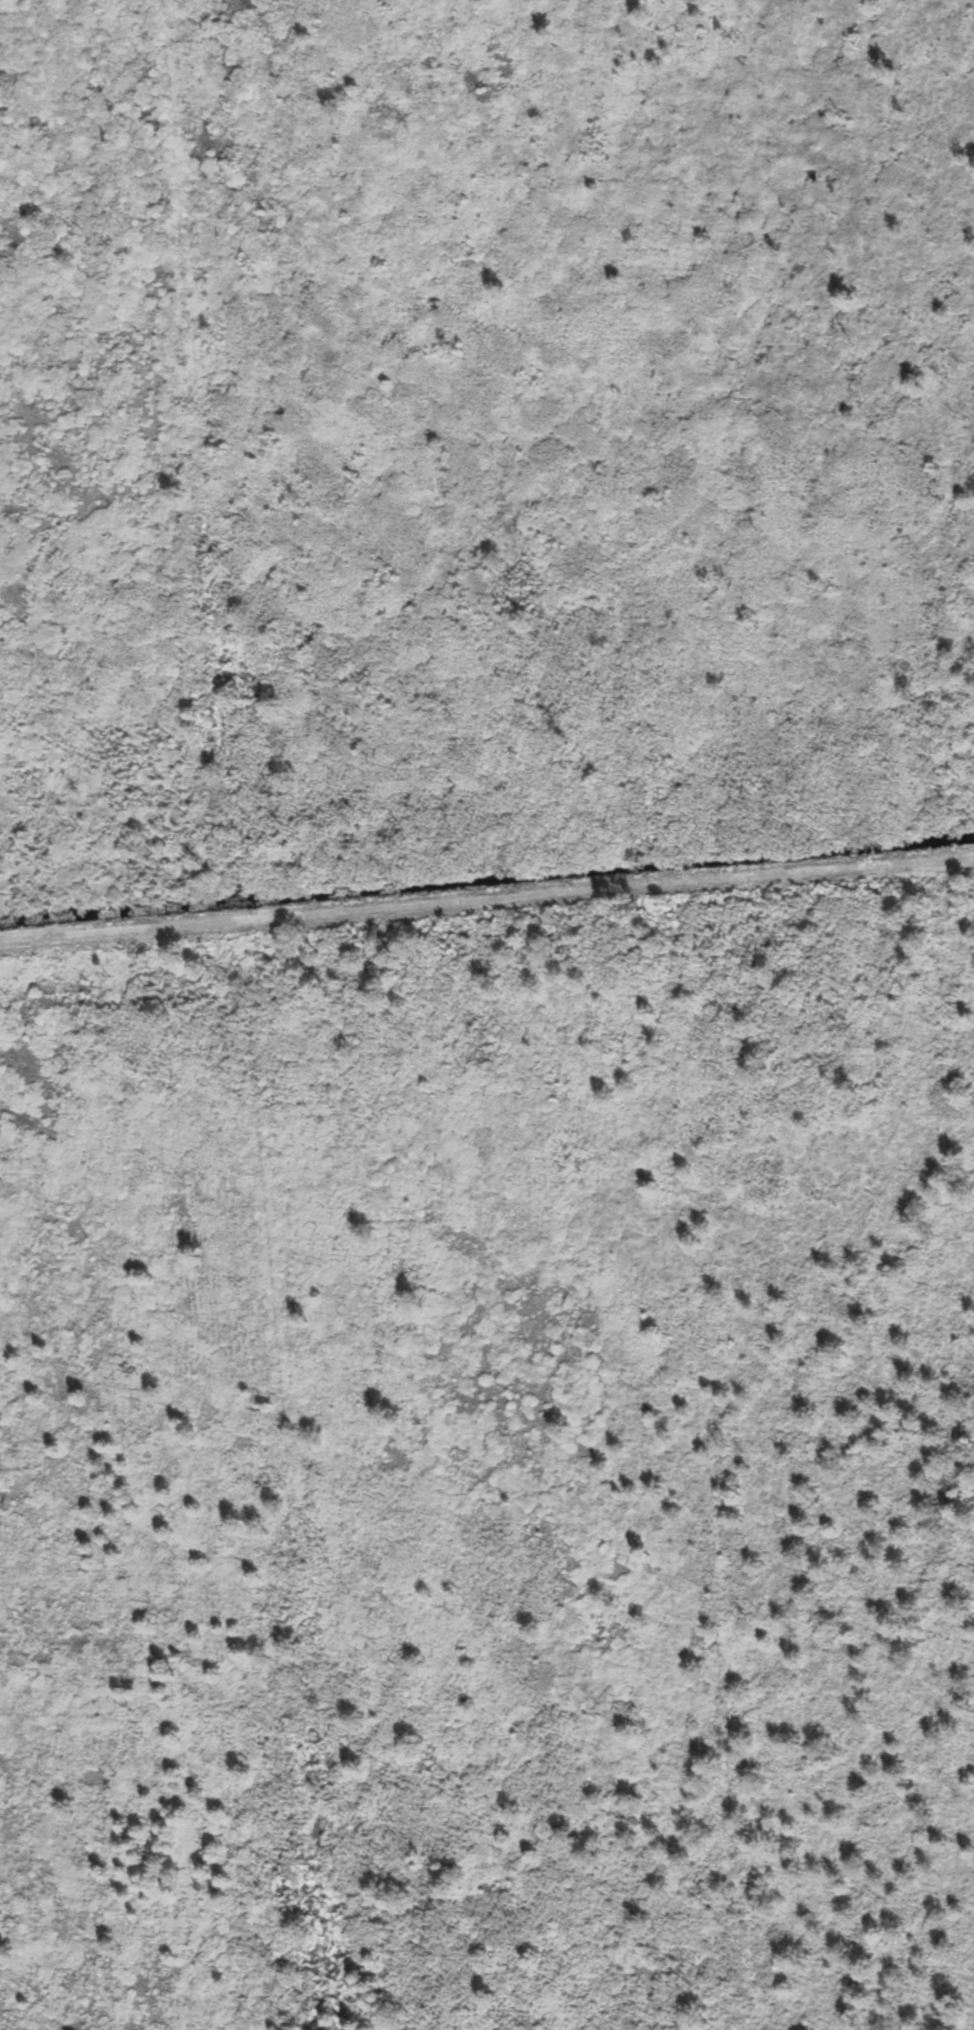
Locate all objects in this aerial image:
road: (487, 893)

